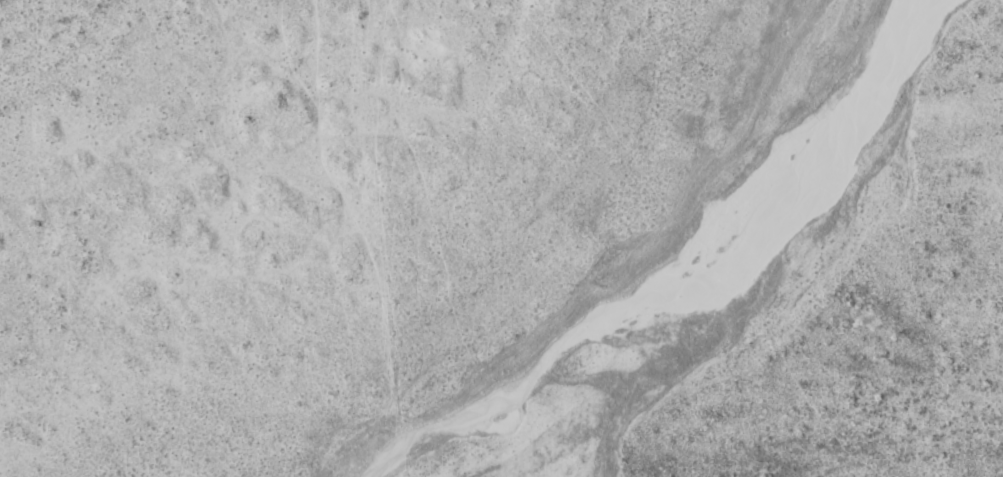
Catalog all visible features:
river: (670, 276)

